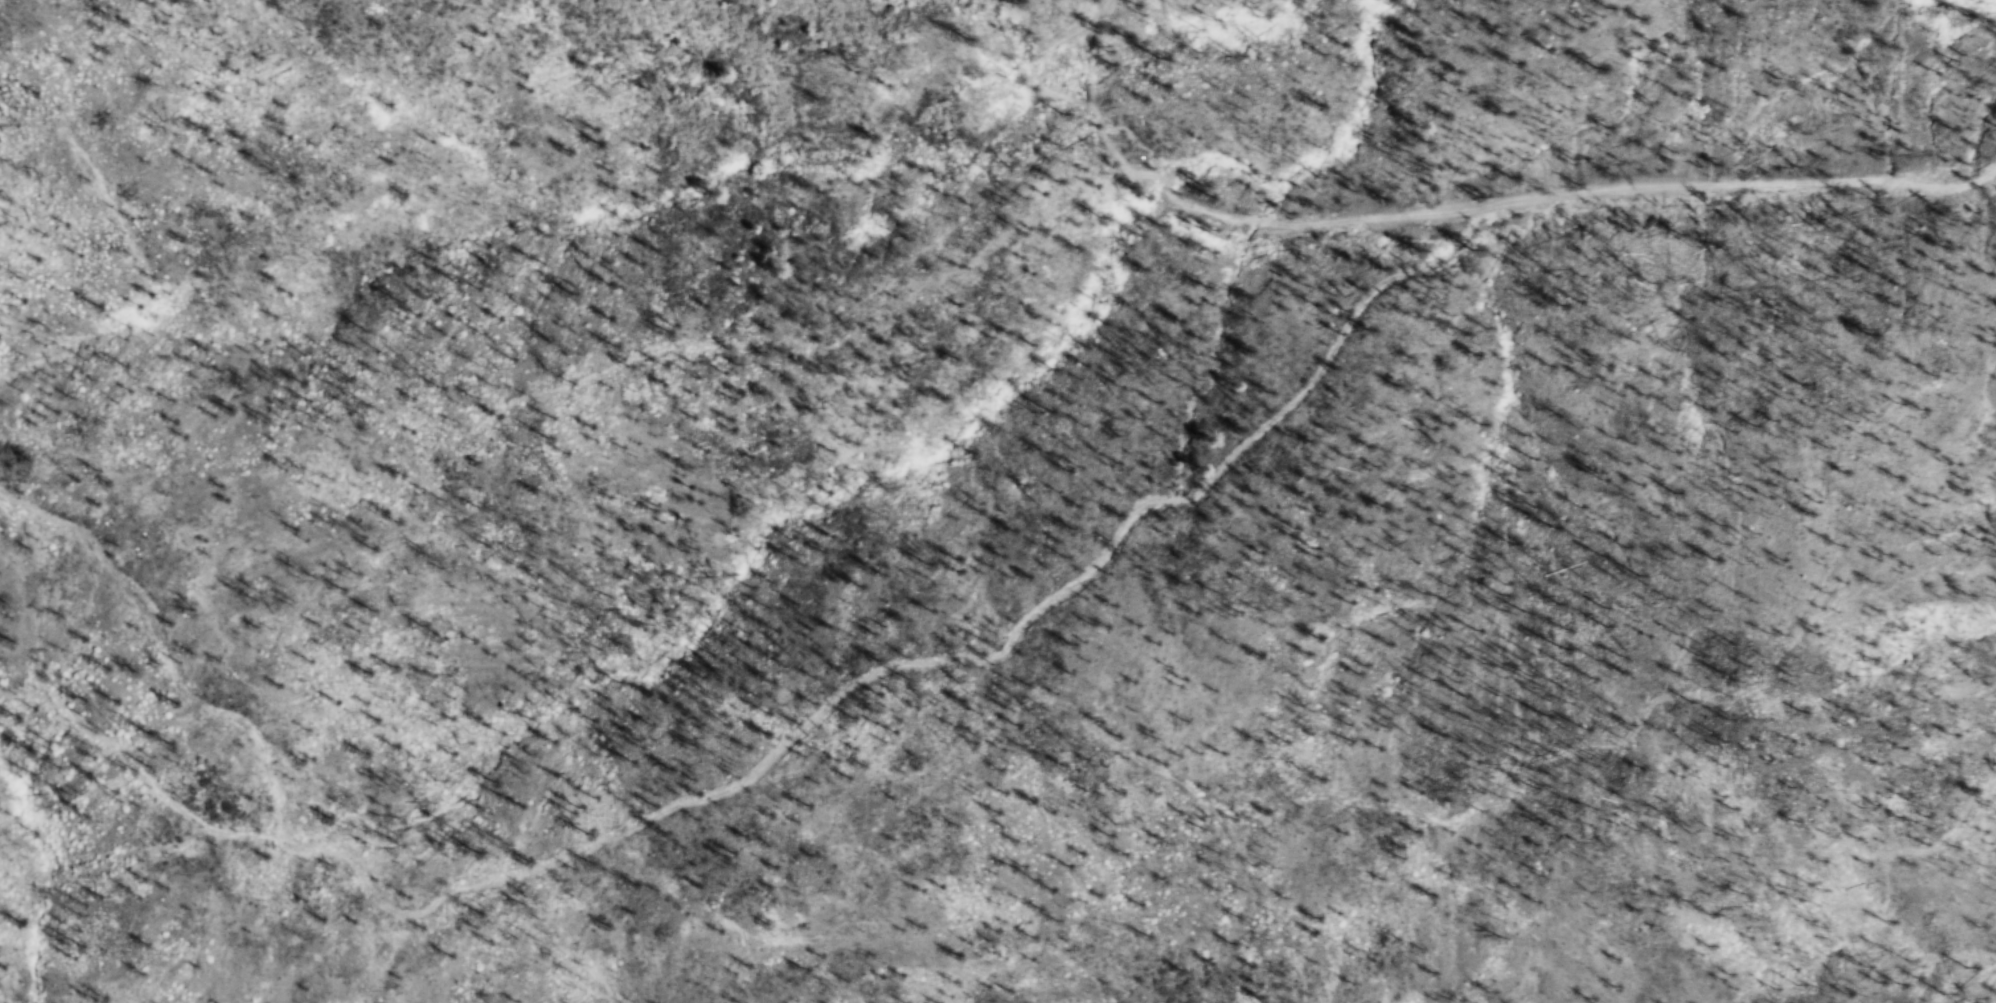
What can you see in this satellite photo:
road: (1465, 209)

